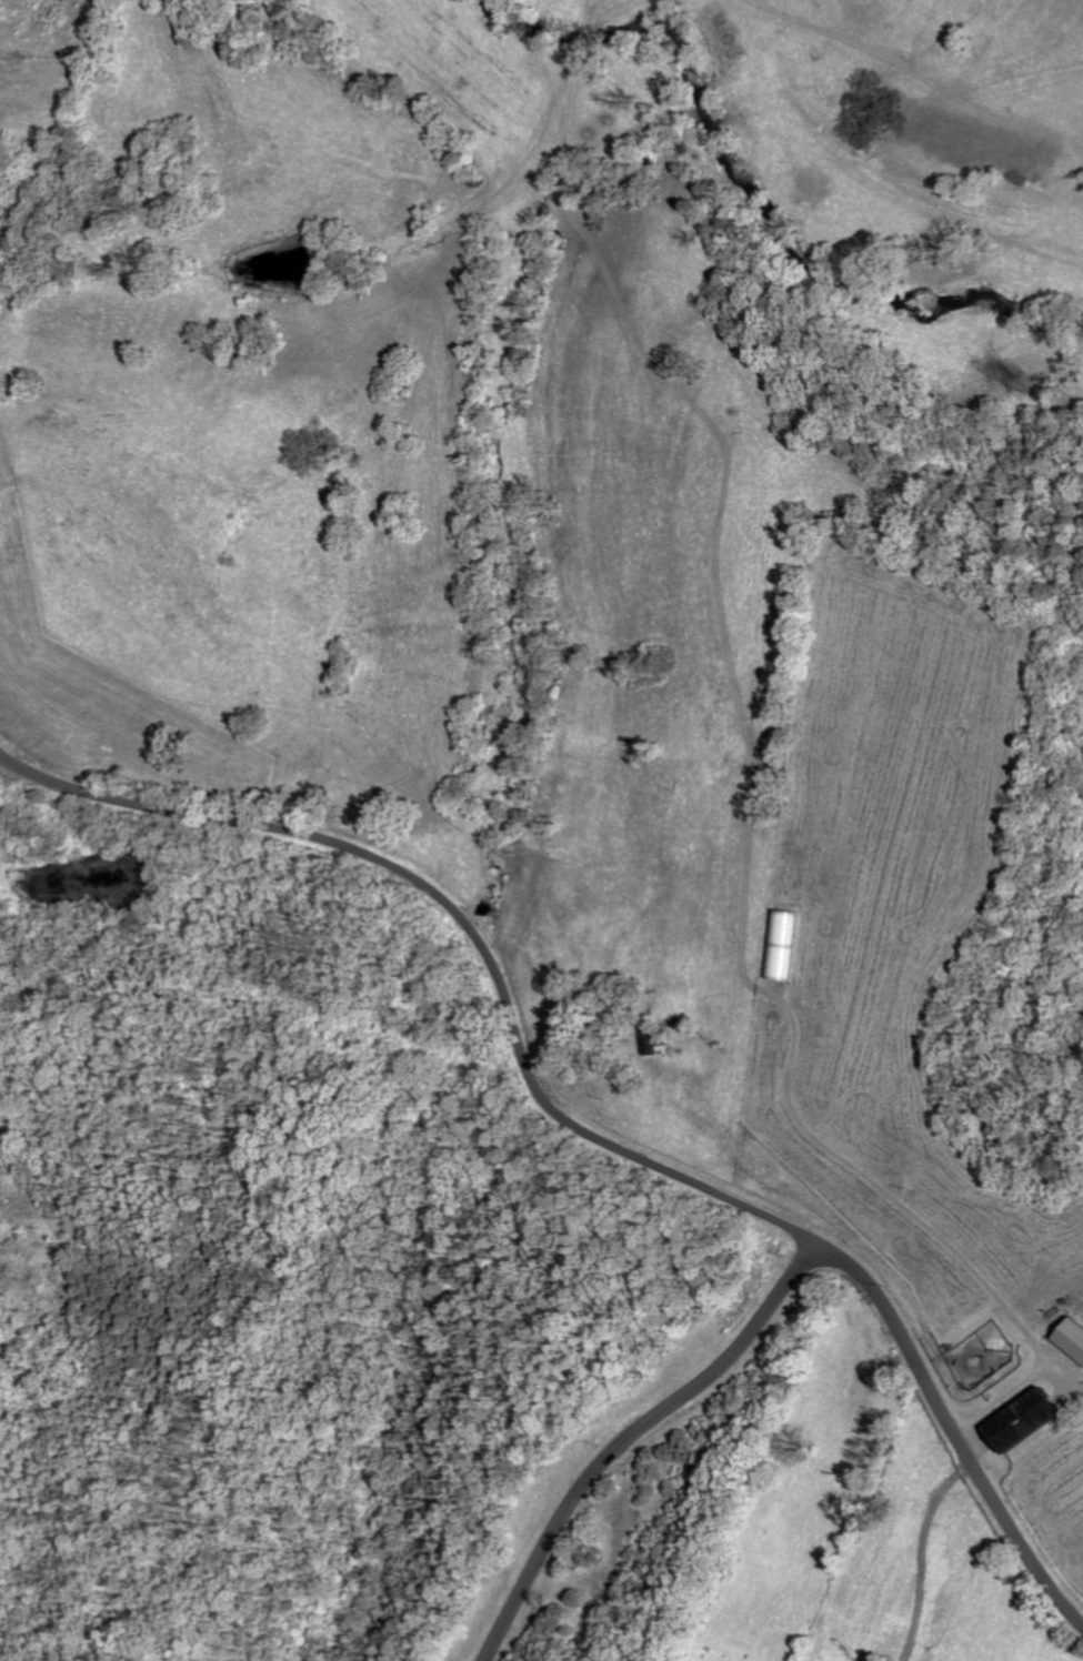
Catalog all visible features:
building: (786, 944)
building: (654, 1041)
road: (573, 1125)
road: (920, 1222)
building: (1074, 1338)
building: (1031, 1420)
road: (633, 1436)

